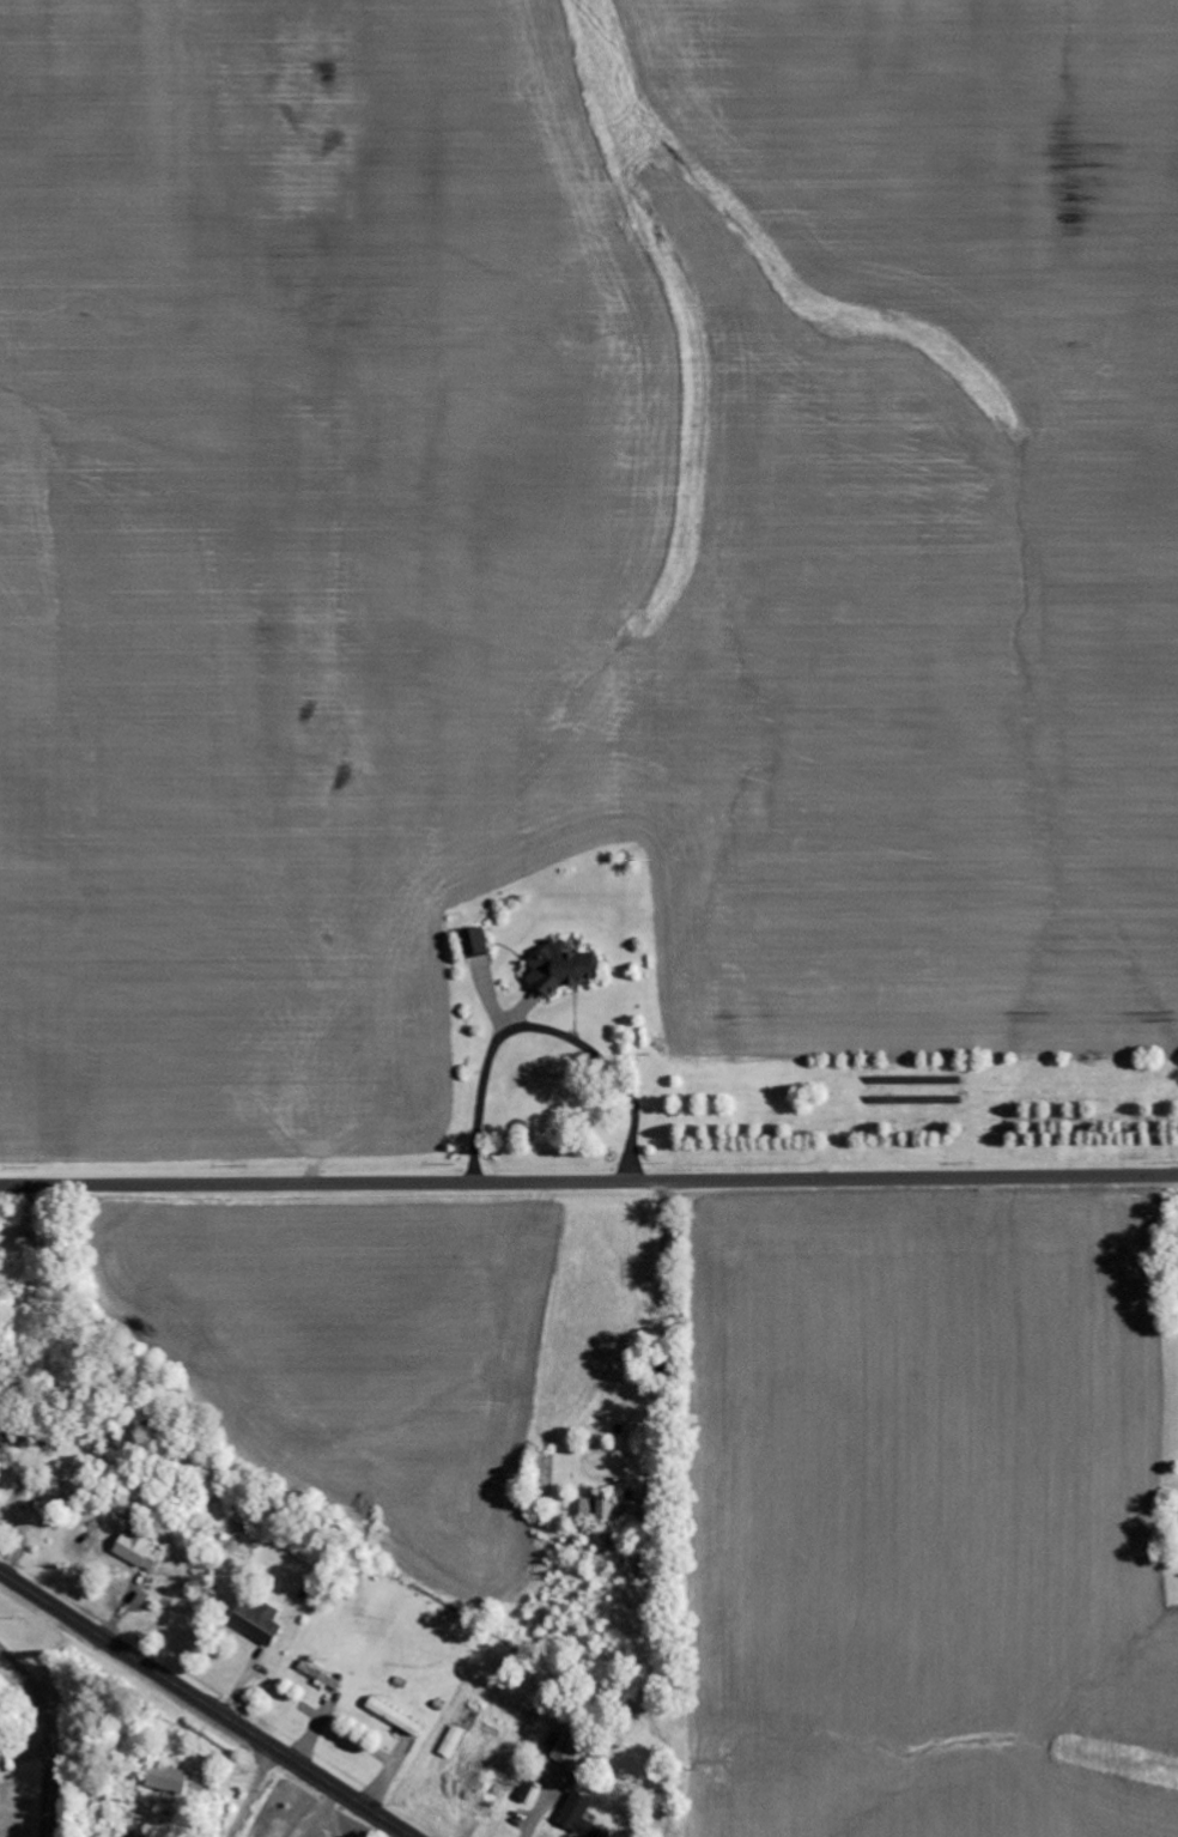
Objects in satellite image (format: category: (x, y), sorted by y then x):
building: (475, 942)
building: (563, 969)
road: (589, 1181)
building: (617, 1510)
building: (259, 1621)
building: (330, 1683)
road: (206, 1703)
building: (395, 1717)
building: (454, 1741)
building: (569, 1745)
building: (169, 1780)
building: (581, 1817)

